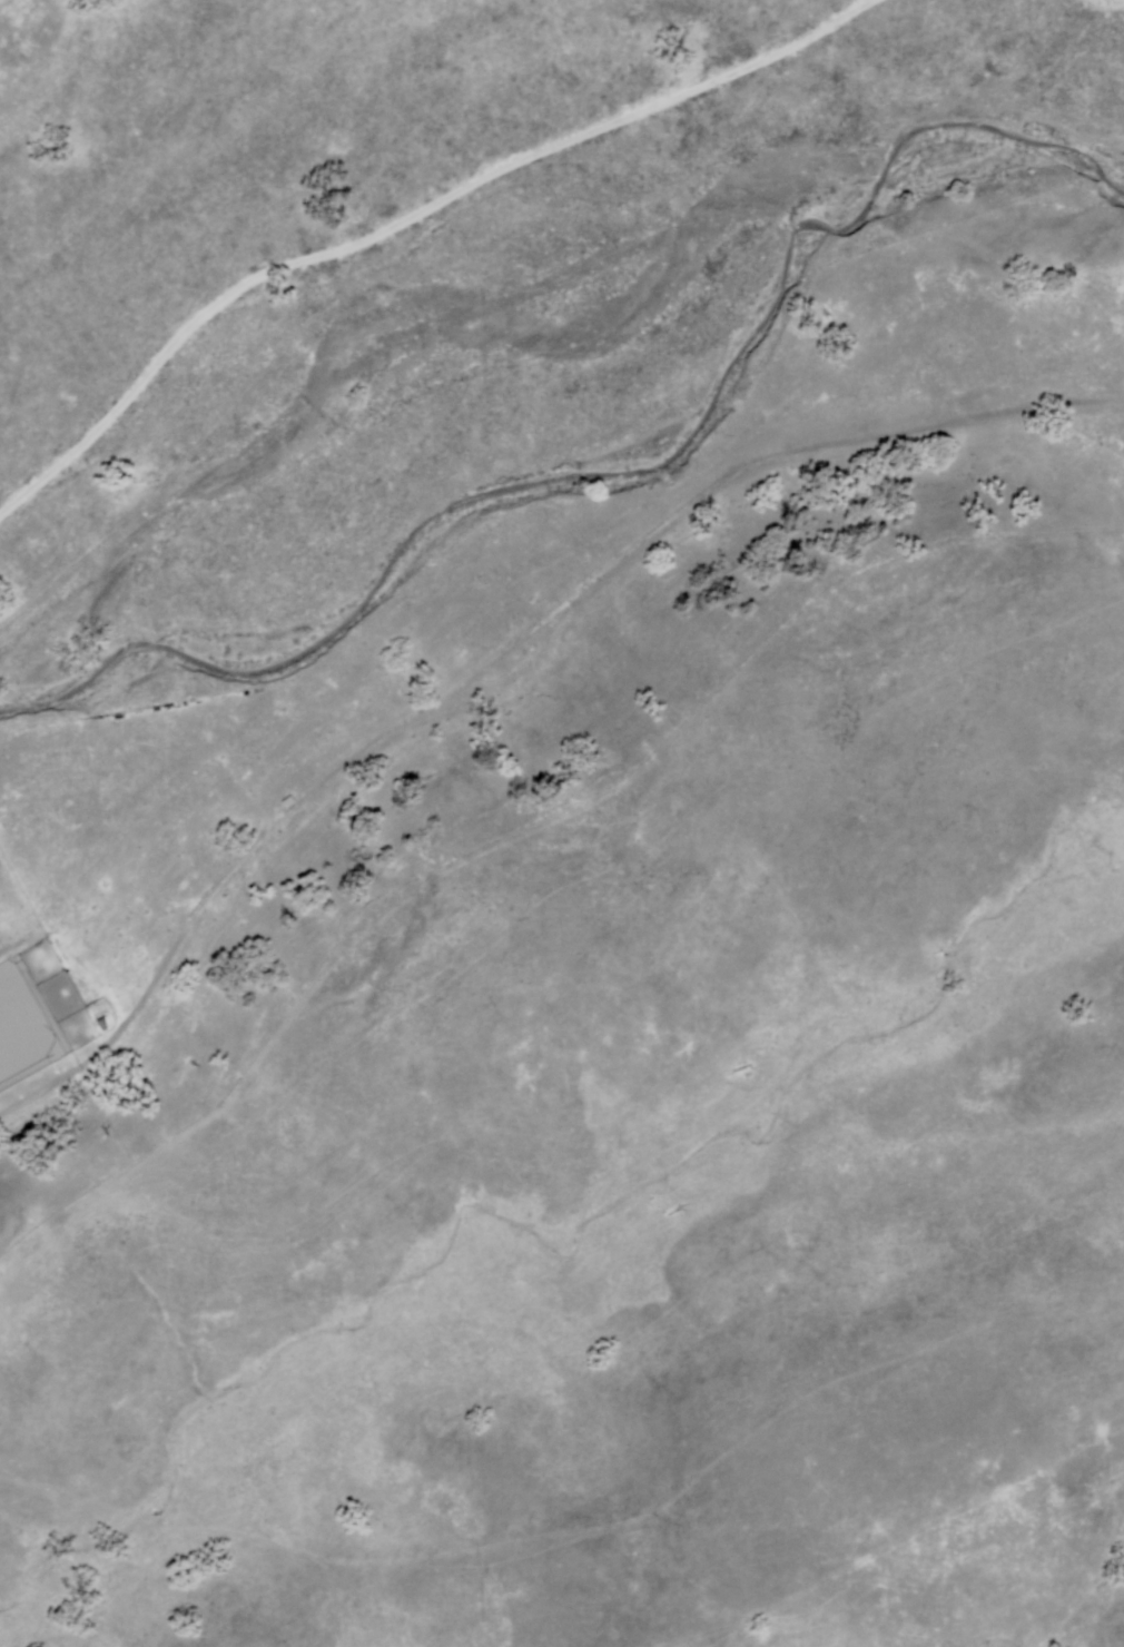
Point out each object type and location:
road: (501, 658)

